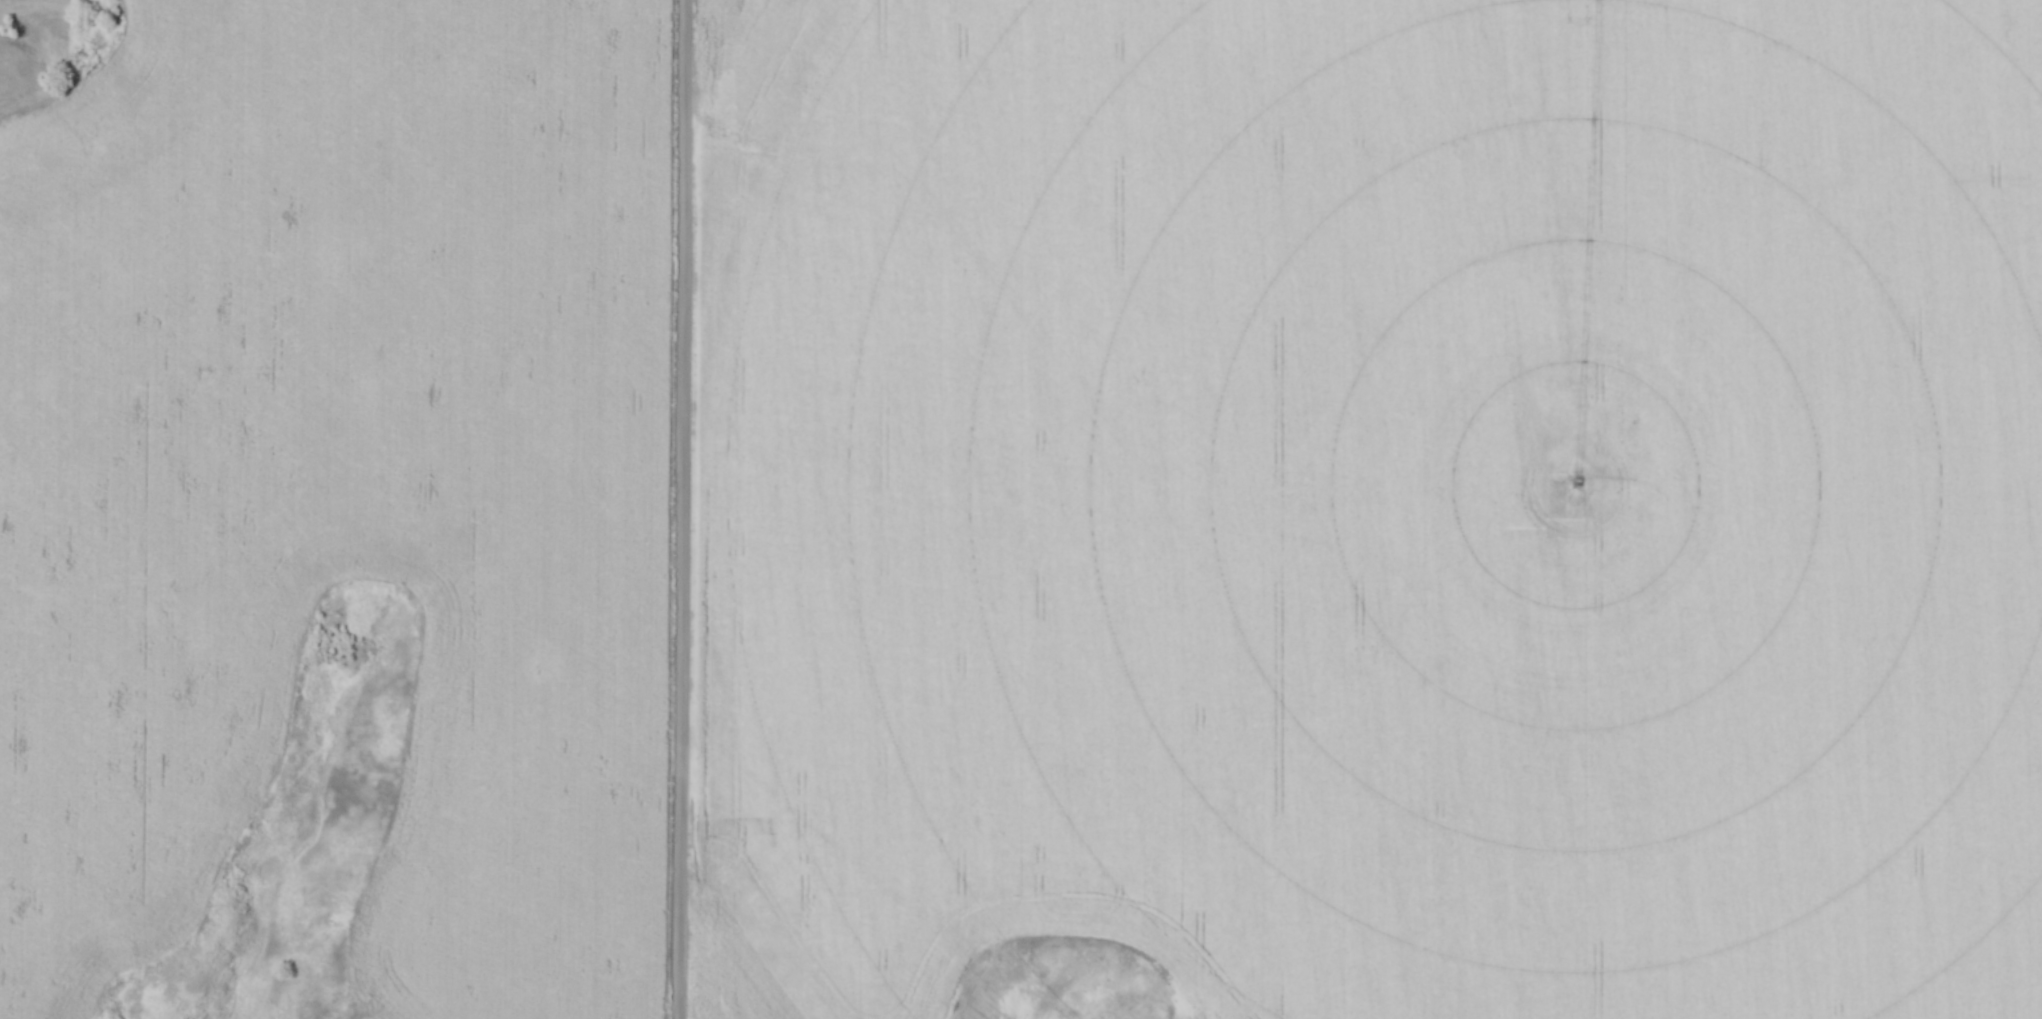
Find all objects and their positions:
crop: (339, 479)
road: (686, 509)

